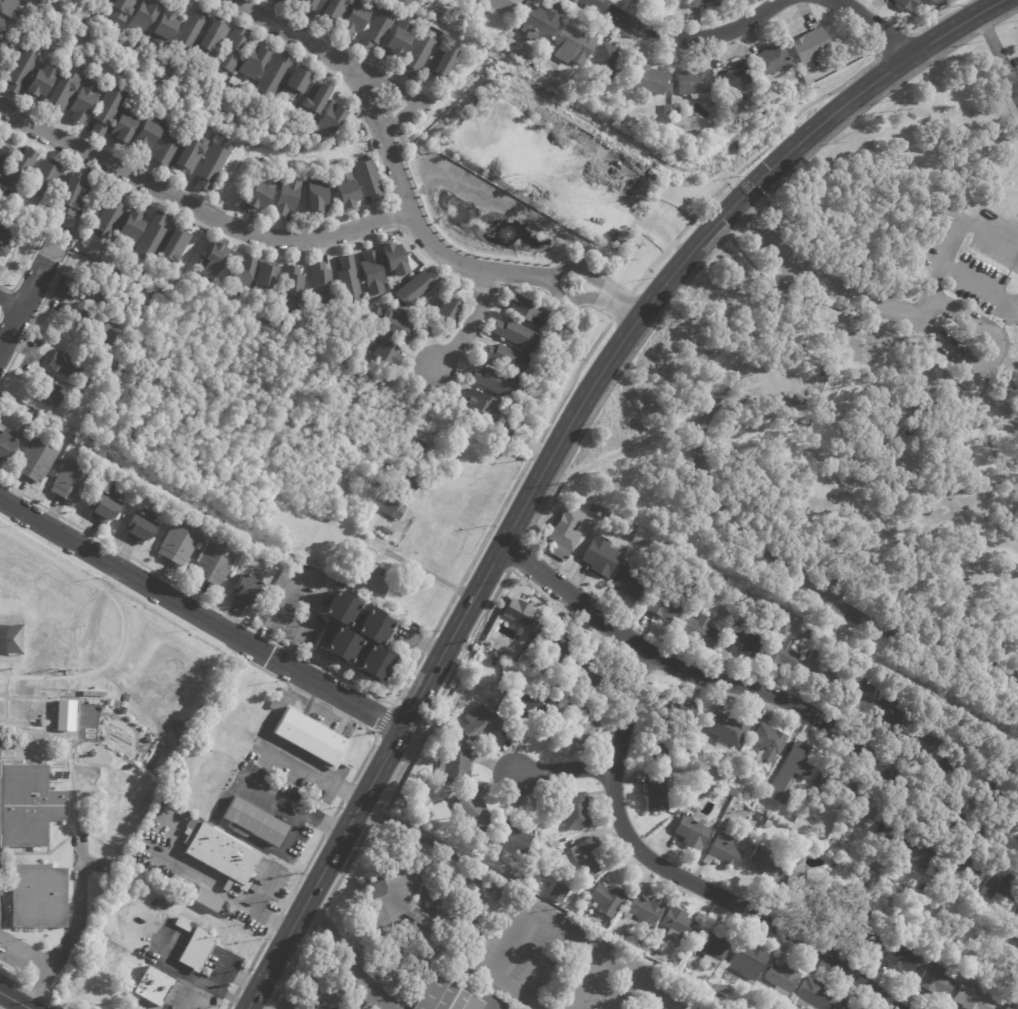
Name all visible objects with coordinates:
building: (106, 0)
building: (292, 0)
building: (467, 0)
building: (656, 1)
building: (661, 1)
building: (699, 3)
building: (307, 4)
building: (904, 4)
building: (499, 6)
building: (6, 7)
building: (119, 8)
building: (331, 10)
building: (143, 15)
road: (928, 15)
building: (354, 17)
building: (462, 20)
road: (937, 20)
building: (535, 22)
building: (2, 23)
building: (161, 27)
road: (873, 27)
building: (186, 28)
building: (374, 28)
building: (477, 30)
building: (484, 35)
building: (208, 36)
road: (684, 39)
building: (396, 40)
road: (889, 40)
building: (570, 45)
building: (809, 45)
building: (232, 48)
road: (997, 53)
building: (415, 56)
building: (605, 57)
building: (441, 58)
building: (771, 59)
building: (252, 60)
parking lot: (1016, 62)
building: (19, 69)
building: (272, 73)
road: (1014, 74)
road: (335, 77)
building: (733, 77)
building: (39, 79)
building: (647, 80)
building: (294, 81)
building: (691, 82)
building: (61, 88)
park: (181, 93)
road: (404, 94)
building: (756, 94)
road: (192, 95)
building: (312, 98)
building: (82, 100)
building: (106, 108)
building: (675, 108)
road: (858, 113)
building: (329, 117)
building: (122, 123)
building: (151, 131)
building: (165, 148)
road: (387, 149)
building: (188, 153)
building: (5, 156)
building: (209, 165)
building: (20, 169)
road: (736, 172)
building: (365, 177)
building: (45, 179)
road: (746, 188)
building: (255, 192)
building: (344, 192)
building: (316, 193)
building: (287, 194)
building: (73, 195)
road: (86, 208)
road: (196, 208)
building: (106, 213)
road: (390, 216)
road: (744, 217)
building: (128, 225)
road: (966, 225)
building: (148, 234)
building: (7, 237)
road: (237, 240)
building: (172, 246)
building: (213, 256)
building: (392, 259)
road: (750, 261)
parking lot: (977, 261)
road: (25, 267)
building: (239, 268)
building: (261, 272)
building: (371, 273)
building: (347, 280)
road: (593, 280)
building: (320, 281)
road: (935, 283)
building: (414, 287)
road: (979, 287)
road: (482, 288)
road: (779, 288)
building: (291, 289)
road: (785, 291)
building: (103, 293)
road: (29, 295)
road: (586, 298)
road: (6, 300)
road: (10, 304)
road: (621, 305)
building: (446, 307)
building: (523, 309)
road: (0, 313)
road: (36, 315)
building: (389, 320)
road: (917, 320)
road: (1010, 323)
building: (95, 325)
road: (471, 325)
road: (891, 331)
building: (514, 334)
road: (1006, 340)
building: (776, 342)
building: (381, 350)
building: (505, 359)
road: (1011, 359)
building: (793, 362)
building: (67, 366)
road: (997, 368)
building: (815, 370)
road: (616, 374)
building: (493, 381)
road: (931, 386)
building: (47, 392)
park: (853, 394)
road: (1000, 395)
building: (744, 397)
building: (797, 400)
road: (988, 400)
building: (10, 401)
building: (477, 403)
road: (972, 411)
building: (29, 413)
road: (553, 413)
building: (0, 426)
building: (504, 436)
building: (6, 443)
road: (897, 444)
building: (418, 446)
road: (556, 447)
road: (961, 448)
road: (989, 448)
road: (628, 449)
building: (33, 460)
building: (437, 466)
building: (409, 478)
building: (68, 480)
road: (858, 501)
building: (386, 505)
building: (104, 506)
road: (860, 507)
building: (593, 510)
road: (1009, 513)
building: (606, 515)
building: (406, 521)
building: (138, 526)
building: (387, 530)
building: (402, 530)
building: (563, 531)
road: (748, 535)
building: (176, 544)
building: (376, 545)
road: (515, 554)
road: (127, 555)
building: (599, 555)
building: (211, 563)
building: (369, 576)
building: (711, 577)
road: (307, 580)
parking lot: (825, 581)
building: (630, 582)
building: (245, 592)
building: (701, 594)
road: (142, 599)
building: (661, 606)
building: (338, 608)
park: (1016, 608)
road: (274, 614)
building: (518, 614)
road: (199, 615)
road: (119, 624)
road: (303, 626)
building: (371, 626)
building: (782, 626)
road: (479, 628)
building: (698, 630)
road: (472, 631)
road: (261, 633)
building: (806, 633)
building: (744, 638)
building: (553, 640)
road: (276, 641)
building: (13, 642)
building: (339, 644)
road: (426, 645)
road: (291, 650)
building: (778, 653)
building: (373, 662)
building: (527, 665)
building: (821, 667)
building: (578, 669)
park: (93, 675)
road: (1015, 675)
road: (4, 681)
road: (61, 690)
road: (760, 691)
building: (855, 692)
road: (370, 693)
building: (476, 693)
building: (91, 694)
road: (49, 699)
road: (318, 701)
building: (272, 705)
building: (530, 706)
building: (1, 708)
building: (30, 710)
road: (4, 711)
building: (676, 711)
building: (892, 715)
road: (74, 718)
road: (384, 718)
building: (582, 723)
building: (479, 724)
road: (38, 728)
building: (727, 728)
building: (684, 734)
building: (307, 736)
road: (375, 736)
building: (767, 741)
building: (922, 744)
road: (369, 747)
building: (664, 749)
road: (43, 750)
road: (276, 750)
road: (57, 754)
building: (800, 761)
building: (949, 761)
road: (81, 766)
building: (454, 766)
road: (564, 770)
building: (714, 773)
building: (58, 774)
building: (832, 785)
building: (991, 789)
road: (346, 790)
building: (729, 790)
building: (656, 791)
road: (69, 792)
building: (1017, 803)
road: (290, 804)
building: (865, 804)
building: (26, 805)
road: (336, 807)
building: (770, 807)
building: (471, 810)
building: (573, 811)
building: (1015, 812)
road: (372, 817)
building: (252, 822)
building: (767, 824)
road: (327, 825)
building: (689, 831)
building: (710, 832)
building: (539, 833)
road: (290, 834)
building: (893, 835)
building: (510, 839)
building: (822, 839)
building: (467, 845)
building: (857, 849)
building: (721, 850)
road: (19, 851)
building: (586, 854)
building: (220, 855)
road: (41, 856)
building: (928, 856)
road: (442, 862)
building: (766, 863)
road: (344, 870)
building: (963, 873)
road: (300, 874)
road: (676, 875)
building: (507, 877)
building: (537, 877)
building: (1003, 884)
building: (178, 885)
road: (264, 886)
building: (798, 886)
road: (219, 890)
building: (556, 893)
building: (898, 895)
building: (36, 896)
building: (206, 899)
building: (606, 899)
building: (643, 907)
building: (399, 908)
building: (839, 911)
building: (471, 912)
building: (1016, 916)
road: (316, 918)
road: (274, 921)
building: (675, 923)
road: (72, 927)
building: (870, 932)
road: (302, 945)
road: (581, 945)
building: (191, 946)
road: (333, 946)
building: (712, 946)
road: (511, 947)
road: (258, 950)
road: (26, 952)
building: (1001, 952)
parking lot: (14, 953)
building: (698, 953)
building: (901, 958)
building: (746, 960)
parking lot: (560, 964)
building: (671, 964)
road: (231, 972)
road: (286, 973)
road: (189, 976)
building: (780, 977)
road: (242, 979)
building: (732, 979)
building: (934, 980)
road: (584, 982)
road: (13, 984)
building: (151, 986)
gas station: (152, 986)
road: (308, 987)
road: (277, 989)
building: (365, 989)
road: (236, 990)
building: (722, 990)
road: (625, 992)
road: (660, 992)
road: (527, 994)
building: (810, 995)
road: (35, 996)
building: (971, 997)
road: (232, 998)
building: (449, 998)
road: (13, 1001)
road: (4, 1003)
road: (185, 1003)
road: (262, 1003)
road: (52, 1004)
road: (270, 1004)
building: (1011, 1004)
road: (227, 1005)
building: (834, 1007)
building: (844, 1008)

